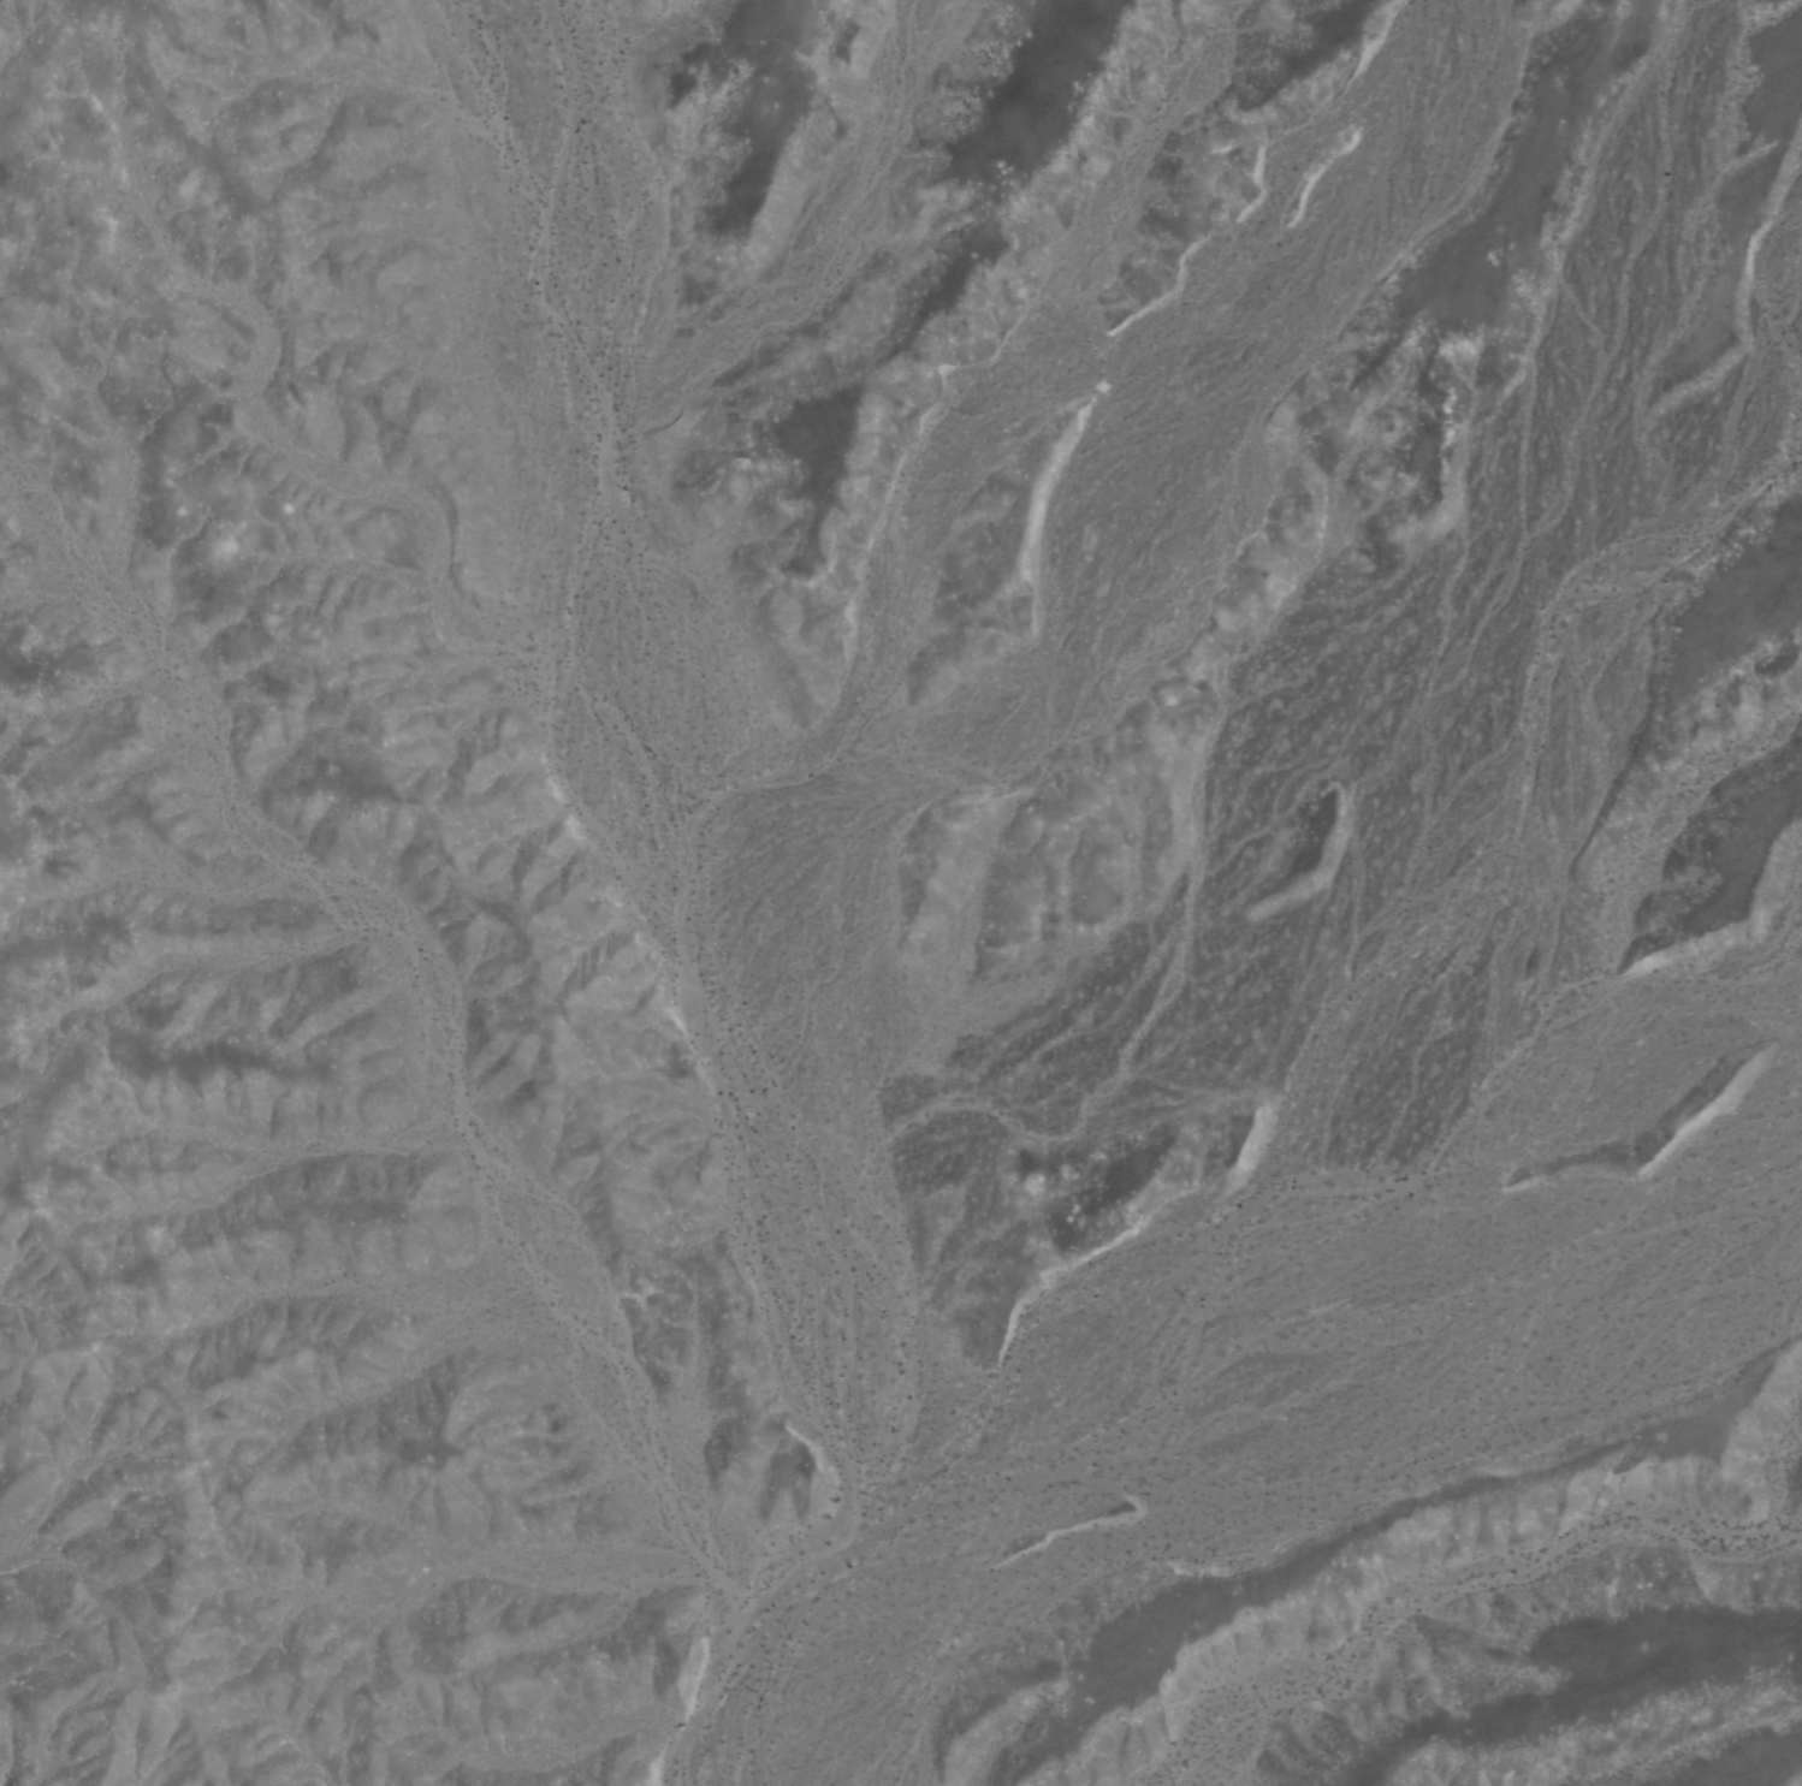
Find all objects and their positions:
road: (1208, 1278)

